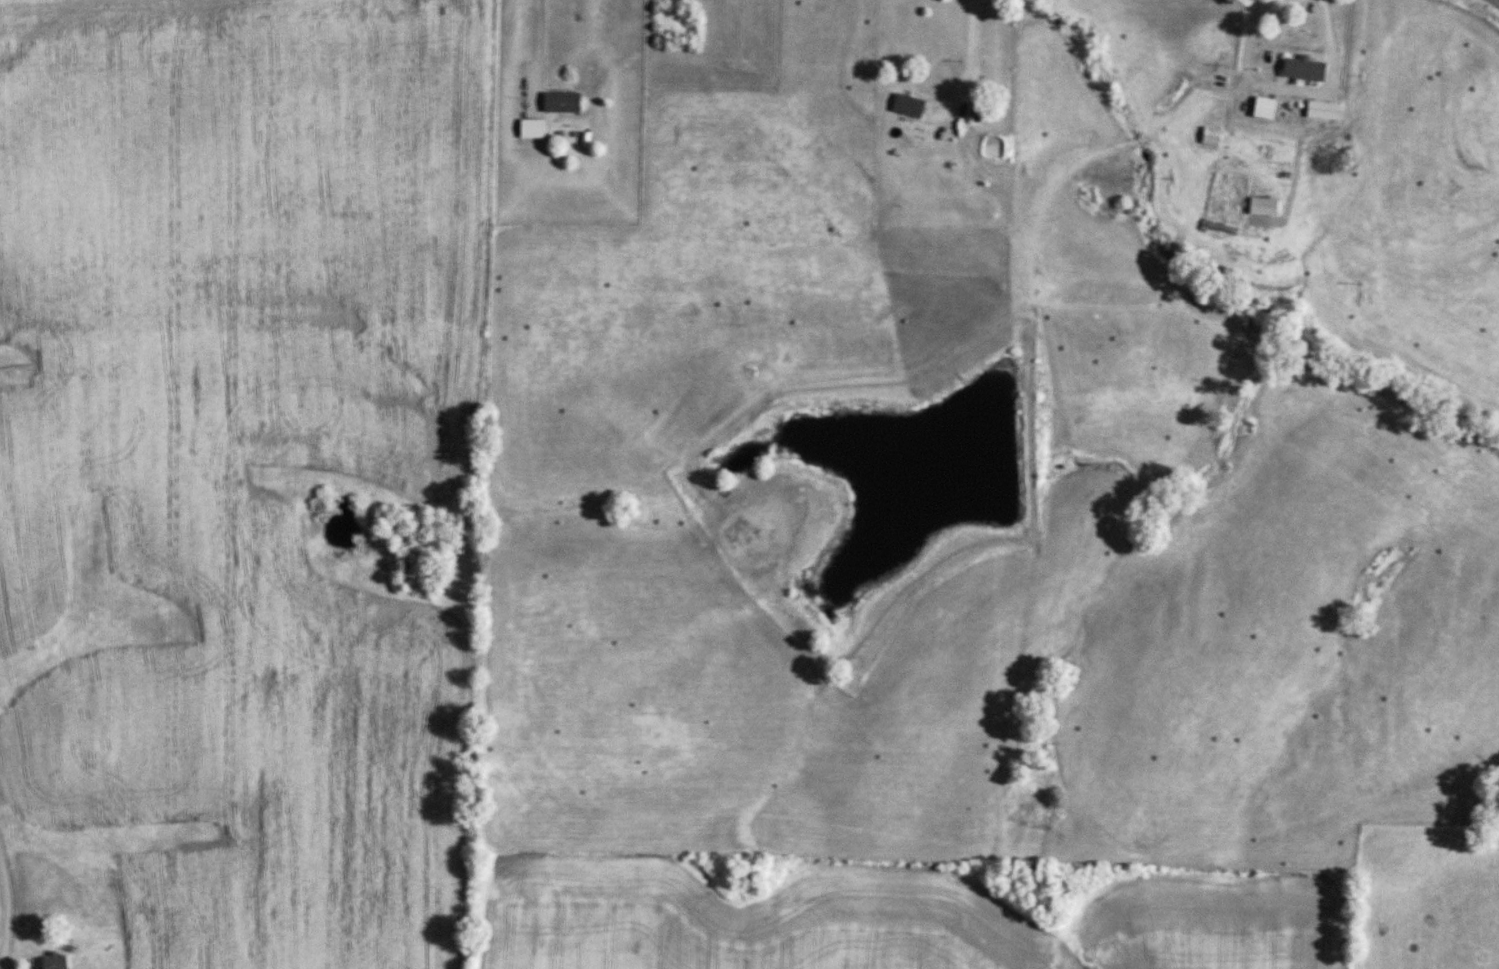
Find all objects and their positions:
road: (1496, 2)
road: (548, 51)
road: (969, 68)
building: (1305, 68)
road: (1281, 87)
building: (561, 102)
building: (908, 105)
building: (1264, 107)
building: (1324, 110)
building: (532, 129)
building: (1211, 136)
building: (1264, 207)
road: (9, 908)
building: (55, 961)

